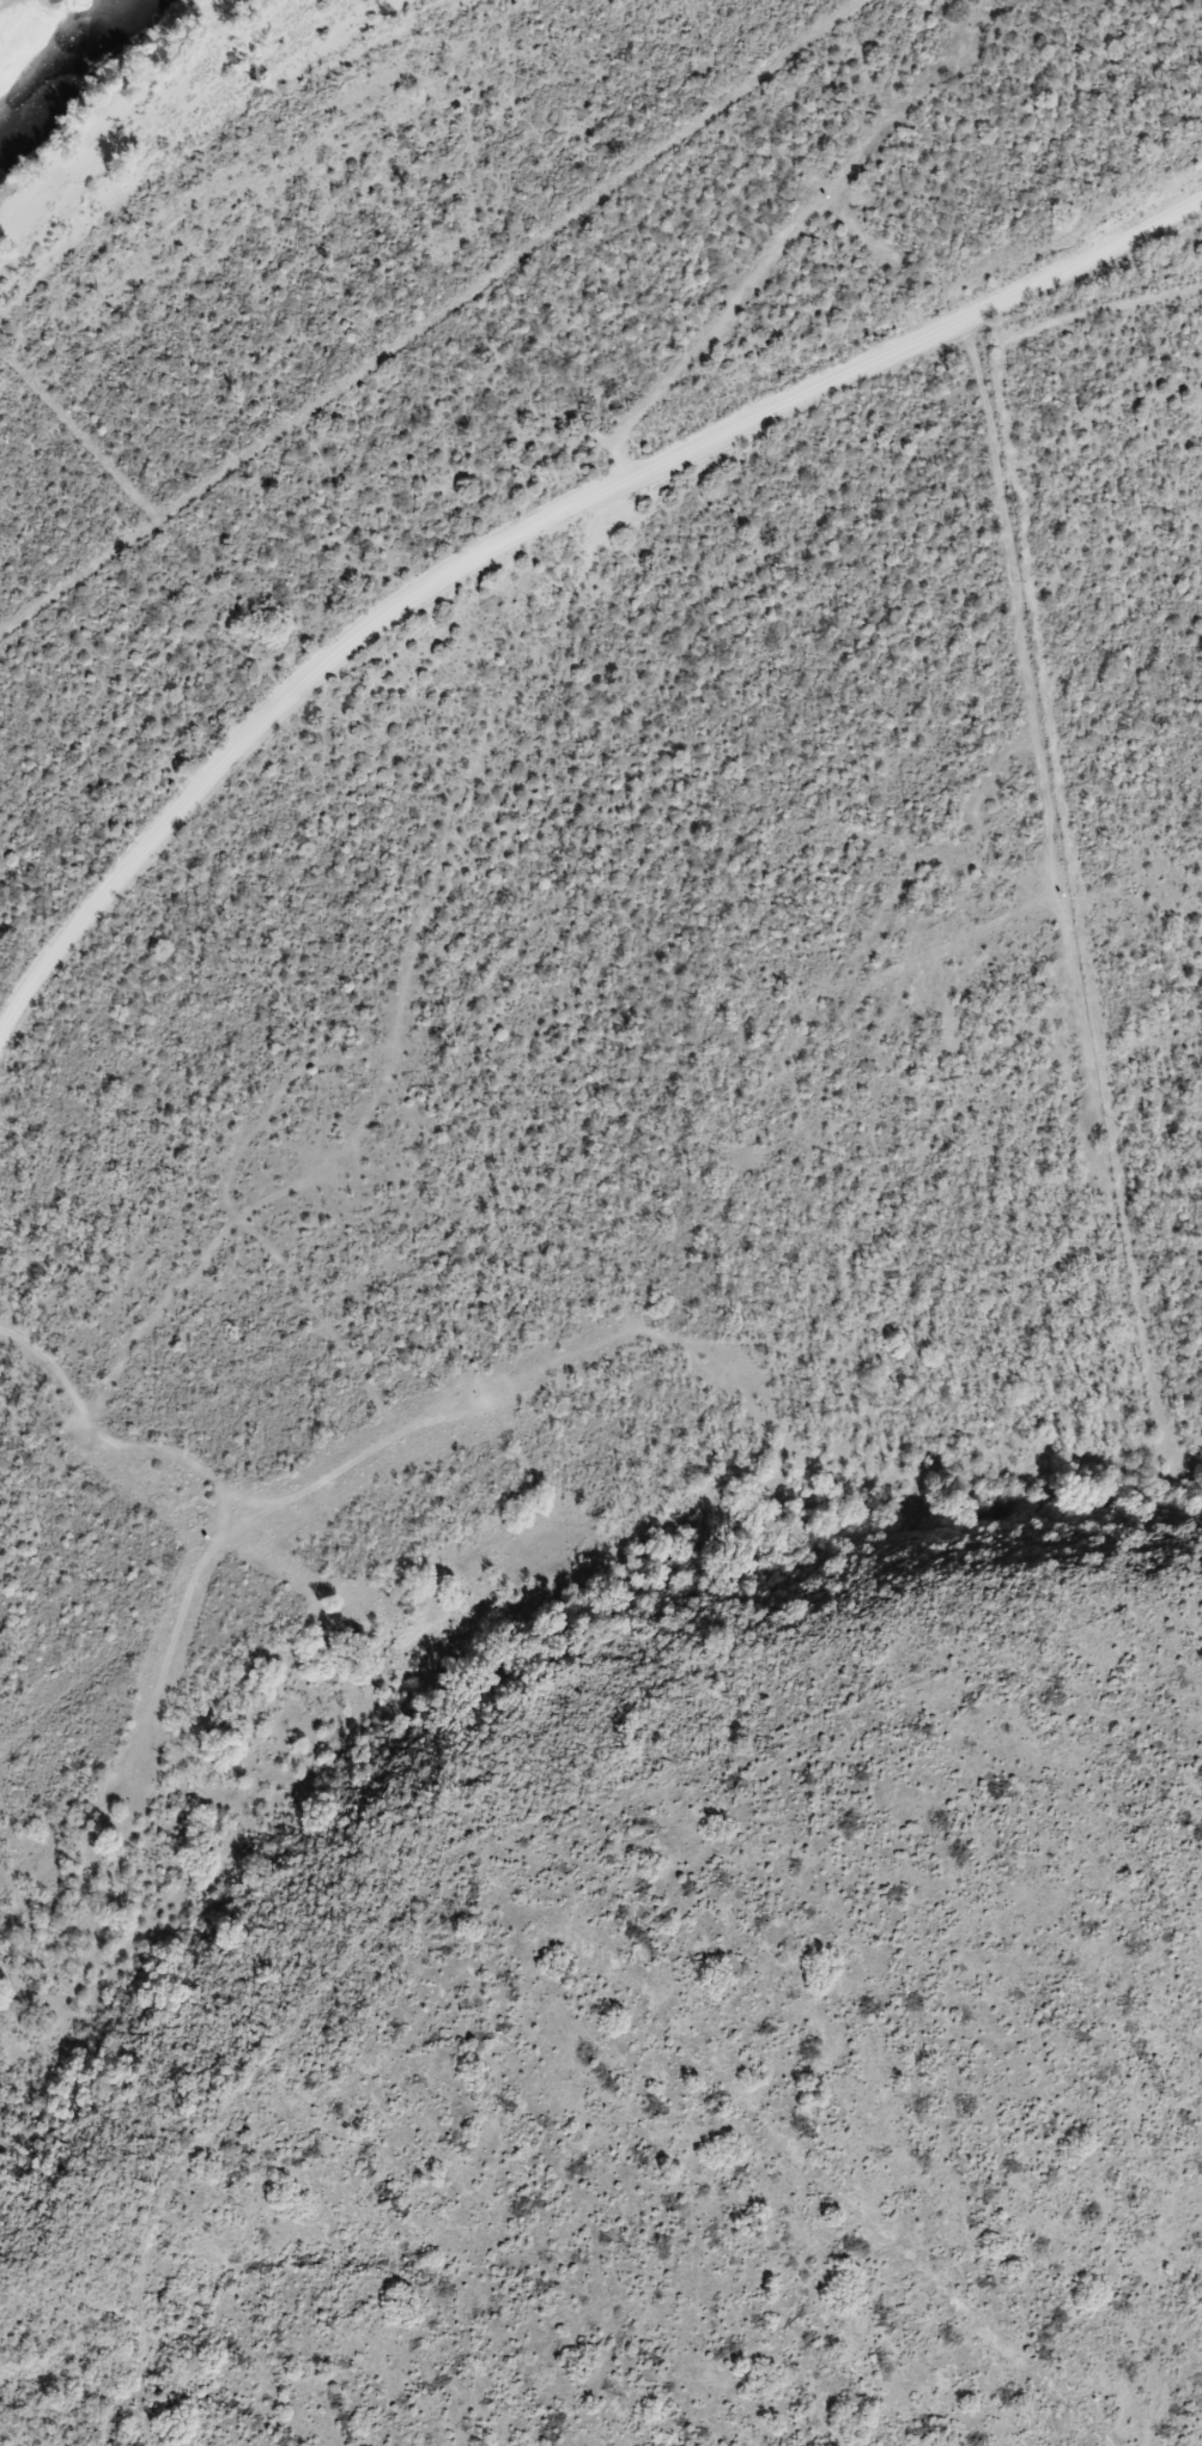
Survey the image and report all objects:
road: (532, 528)

